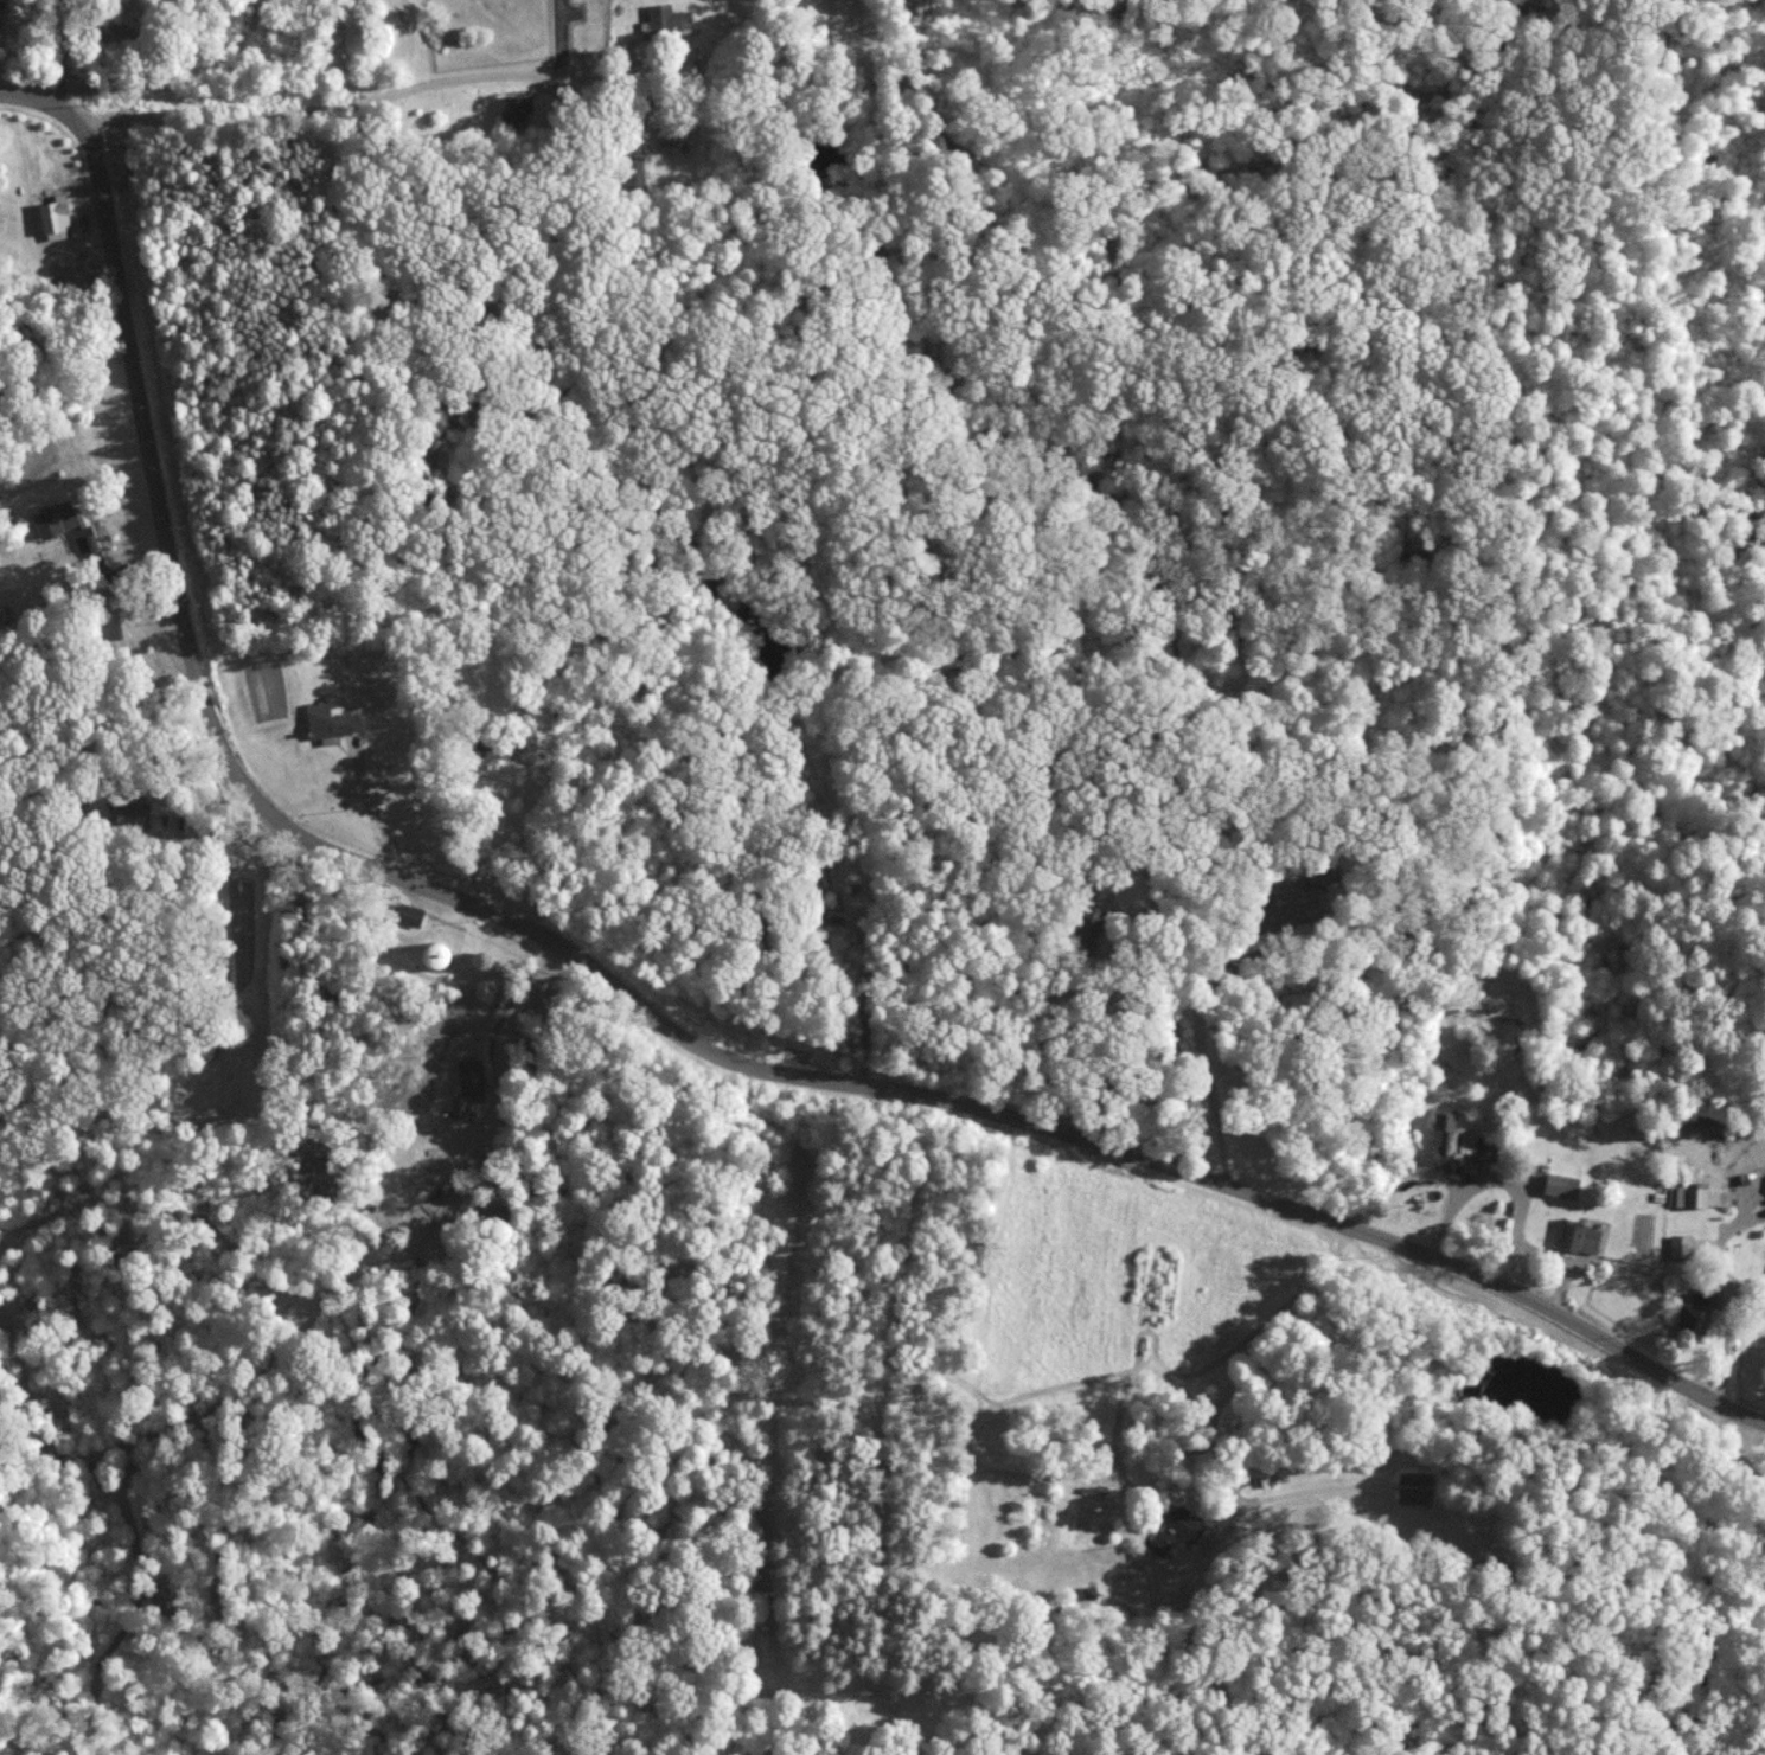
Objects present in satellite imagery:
building: (1, 9)
road: (66, 50)
building: (518, 108)
road: (369, 109)
building: (669, 133)
road: (263, 148)
building: (55, 214)
building: (59, 518)
building: (331, 720)
road: (171, 799)
road: (367, 806)
building: (132, 811)
road: (495, 834)
building: (1302, 897)
building: (410, 914)
building: (442, 955)
road: (627, 994)
road: (861, 1000)
road: (505, 1032)
road: (1089, 1035)
road: (1200, 1038)
building: (1453, 1140)
building: (1485, 1148)
building: (1563, 1184)
building: (1688, 1194)
road: (1517, 1200)
building: (1578, 1235)
building: (1682, 1245)
road: (1720, 1258)
road: (1501, 1263)
building: (1695, 1309)
road: (1742, 1341)
road: (1259, 1368)
road: (1746, 1445)
building: (1414, 1487)
building: (1178, 1529)

